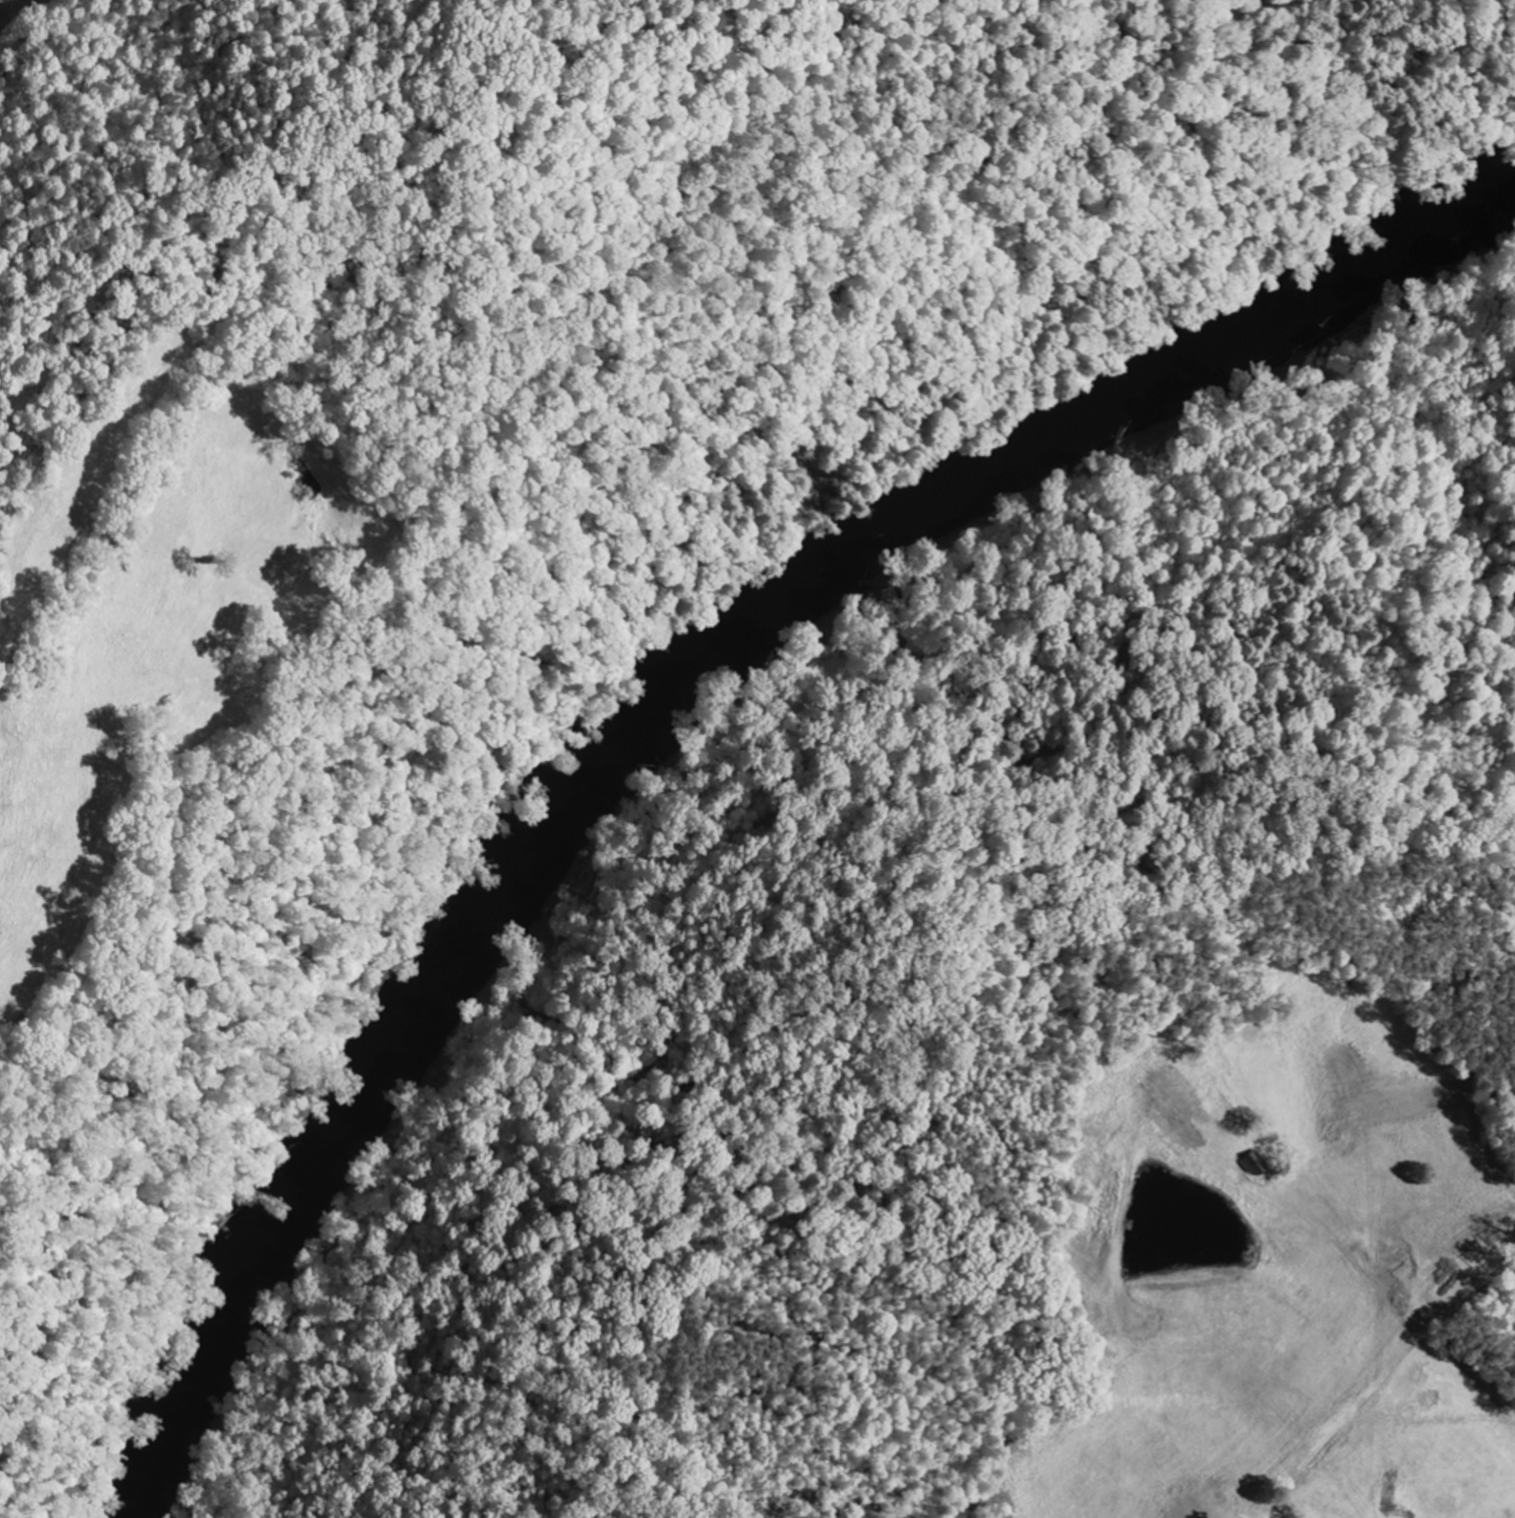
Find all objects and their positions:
river: (657, 681)
building: (1260, 1165)

